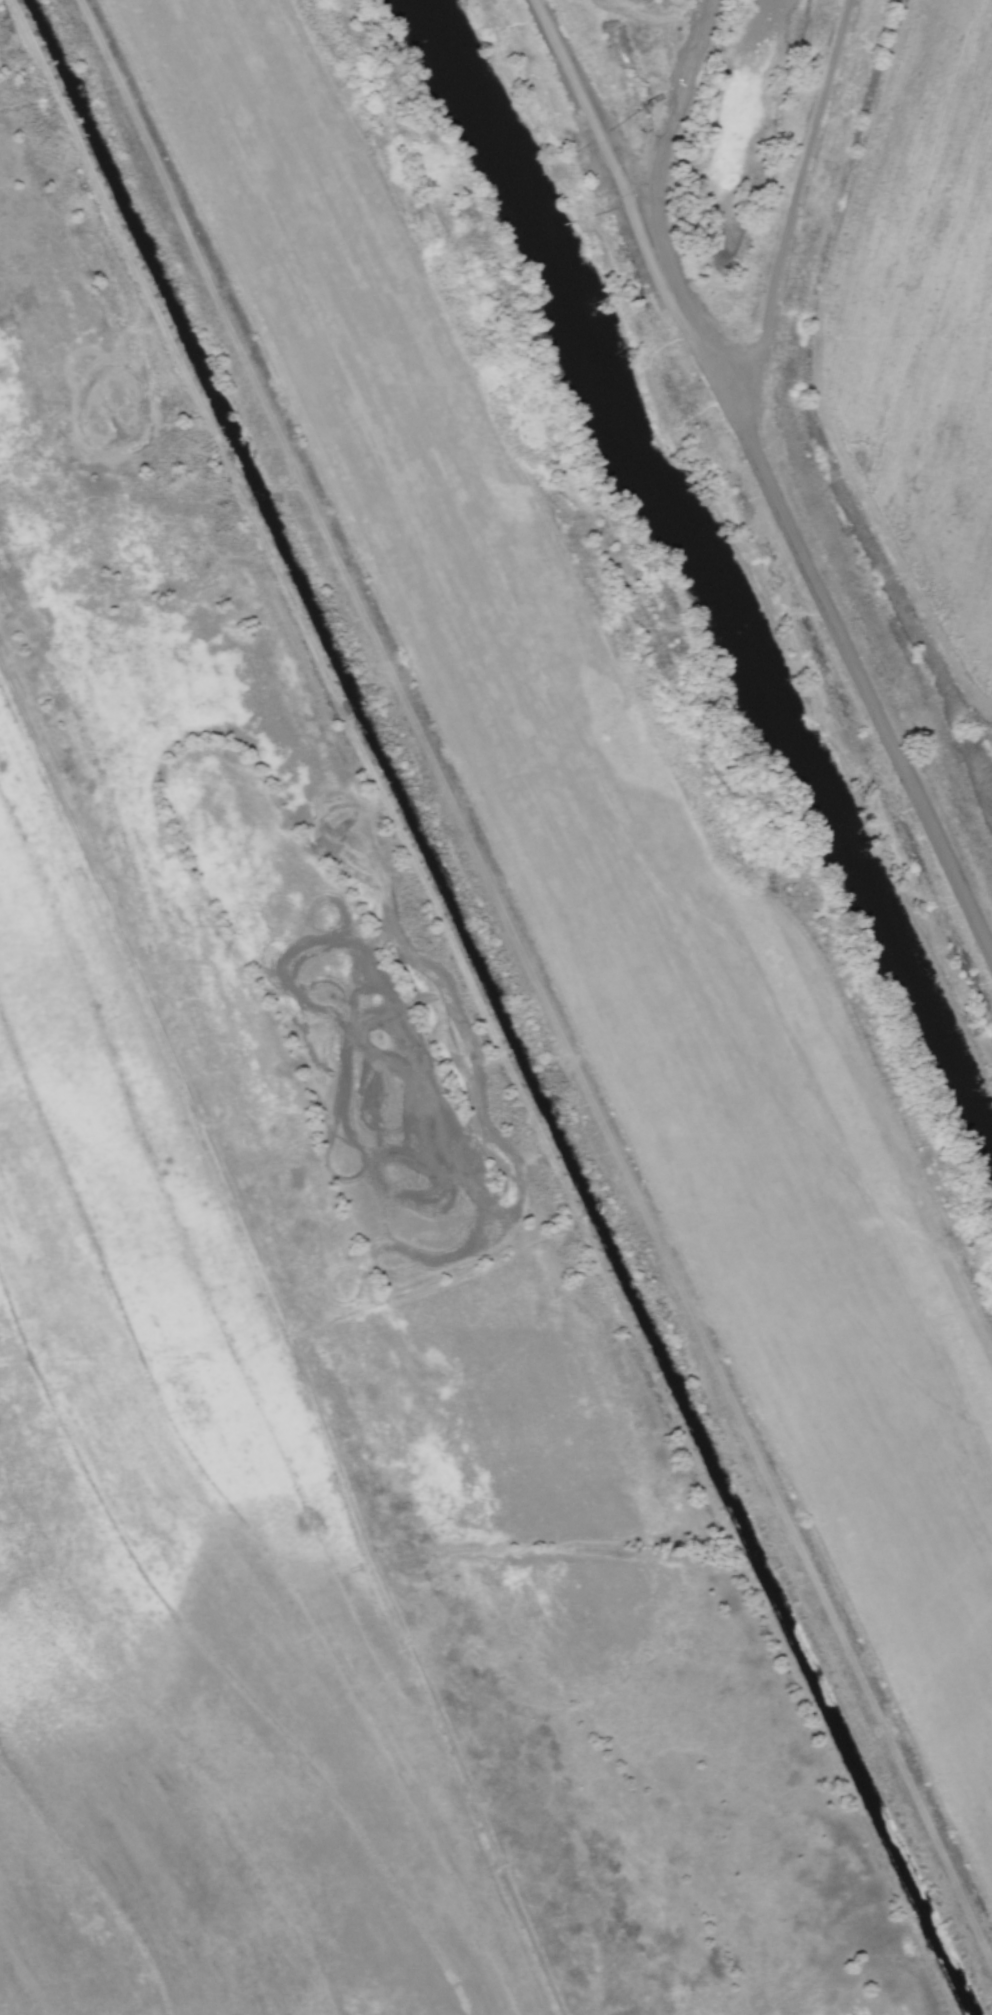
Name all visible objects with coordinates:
crop: (645, 31)
road: (656, 177)
road: (798, 186)
crop: (918, 335)
road: (766, 476)
crop: (588, 896)
crop: (181, 1596)

